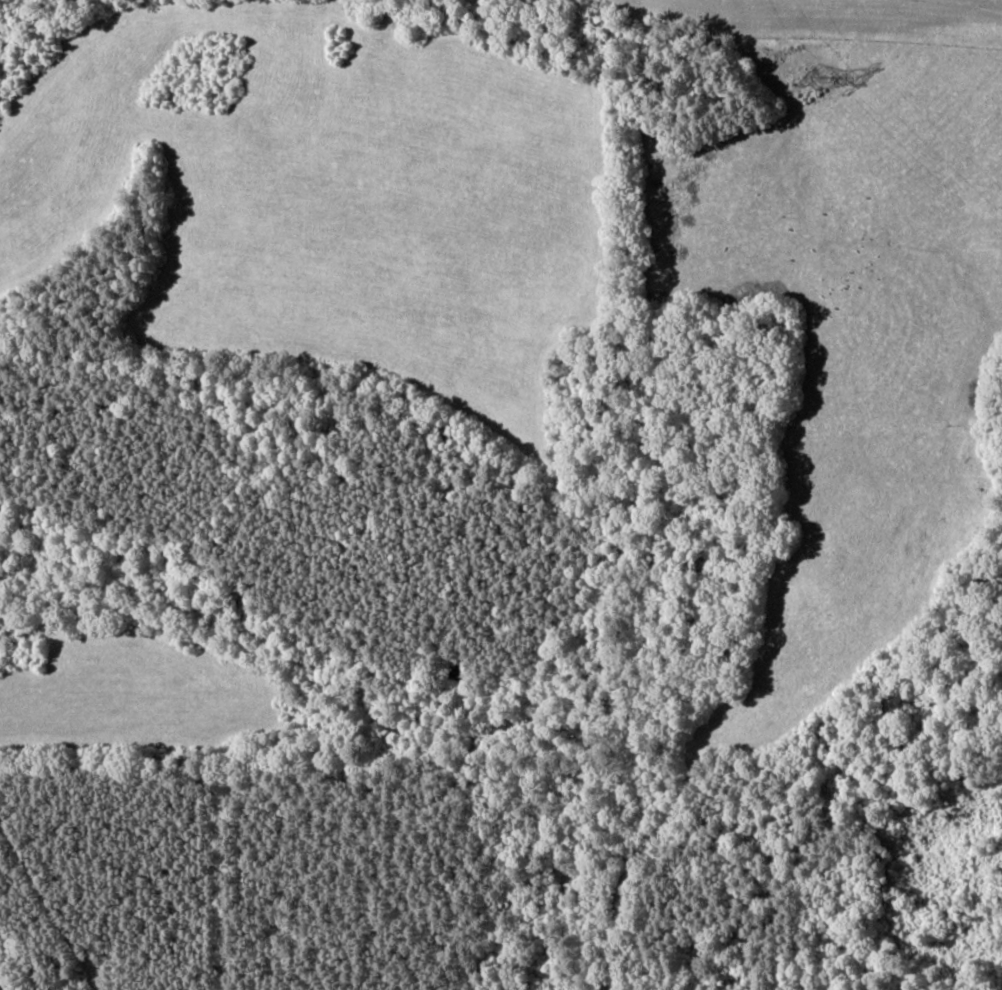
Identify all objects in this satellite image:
power tower: (820, 79)
road: (13, 957)

